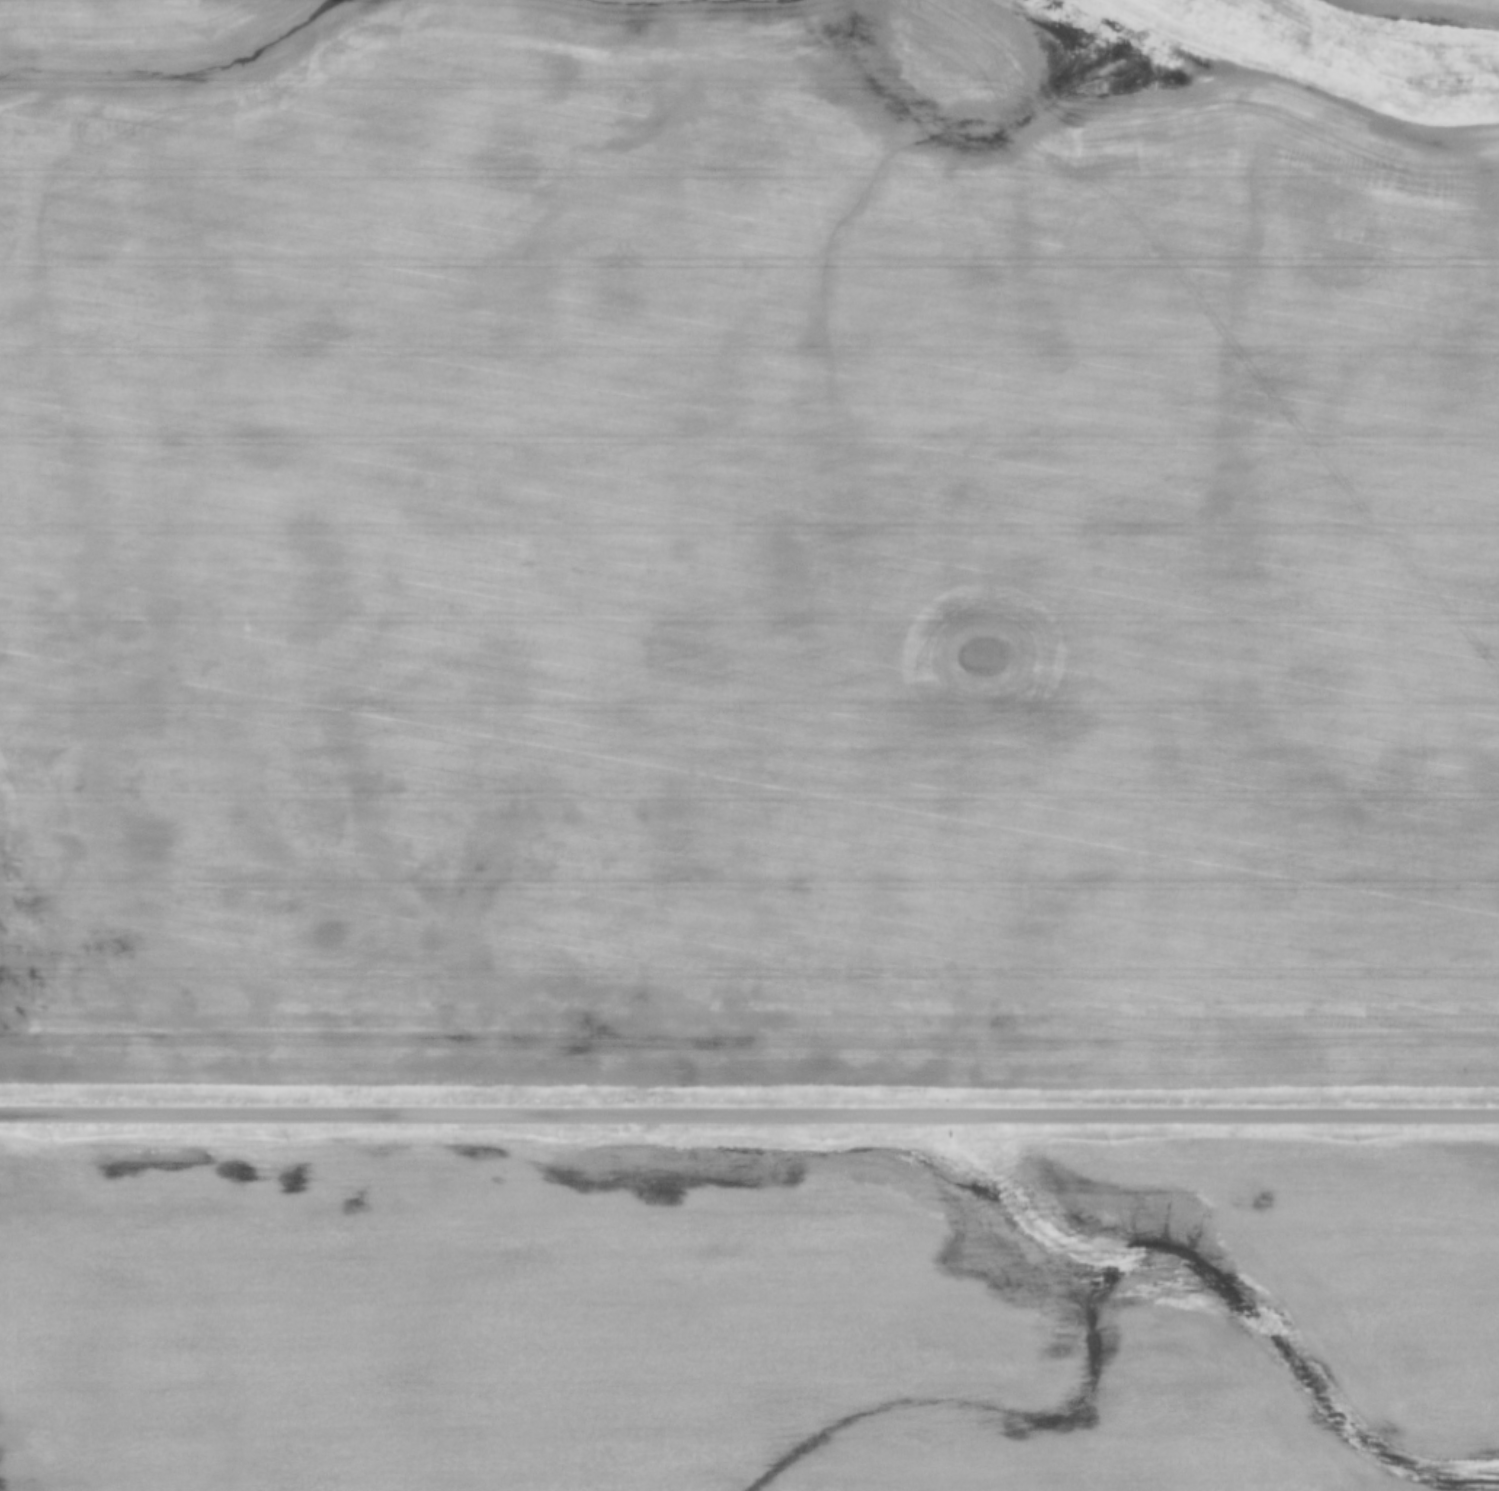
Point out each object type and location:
road: (749, 1113)

